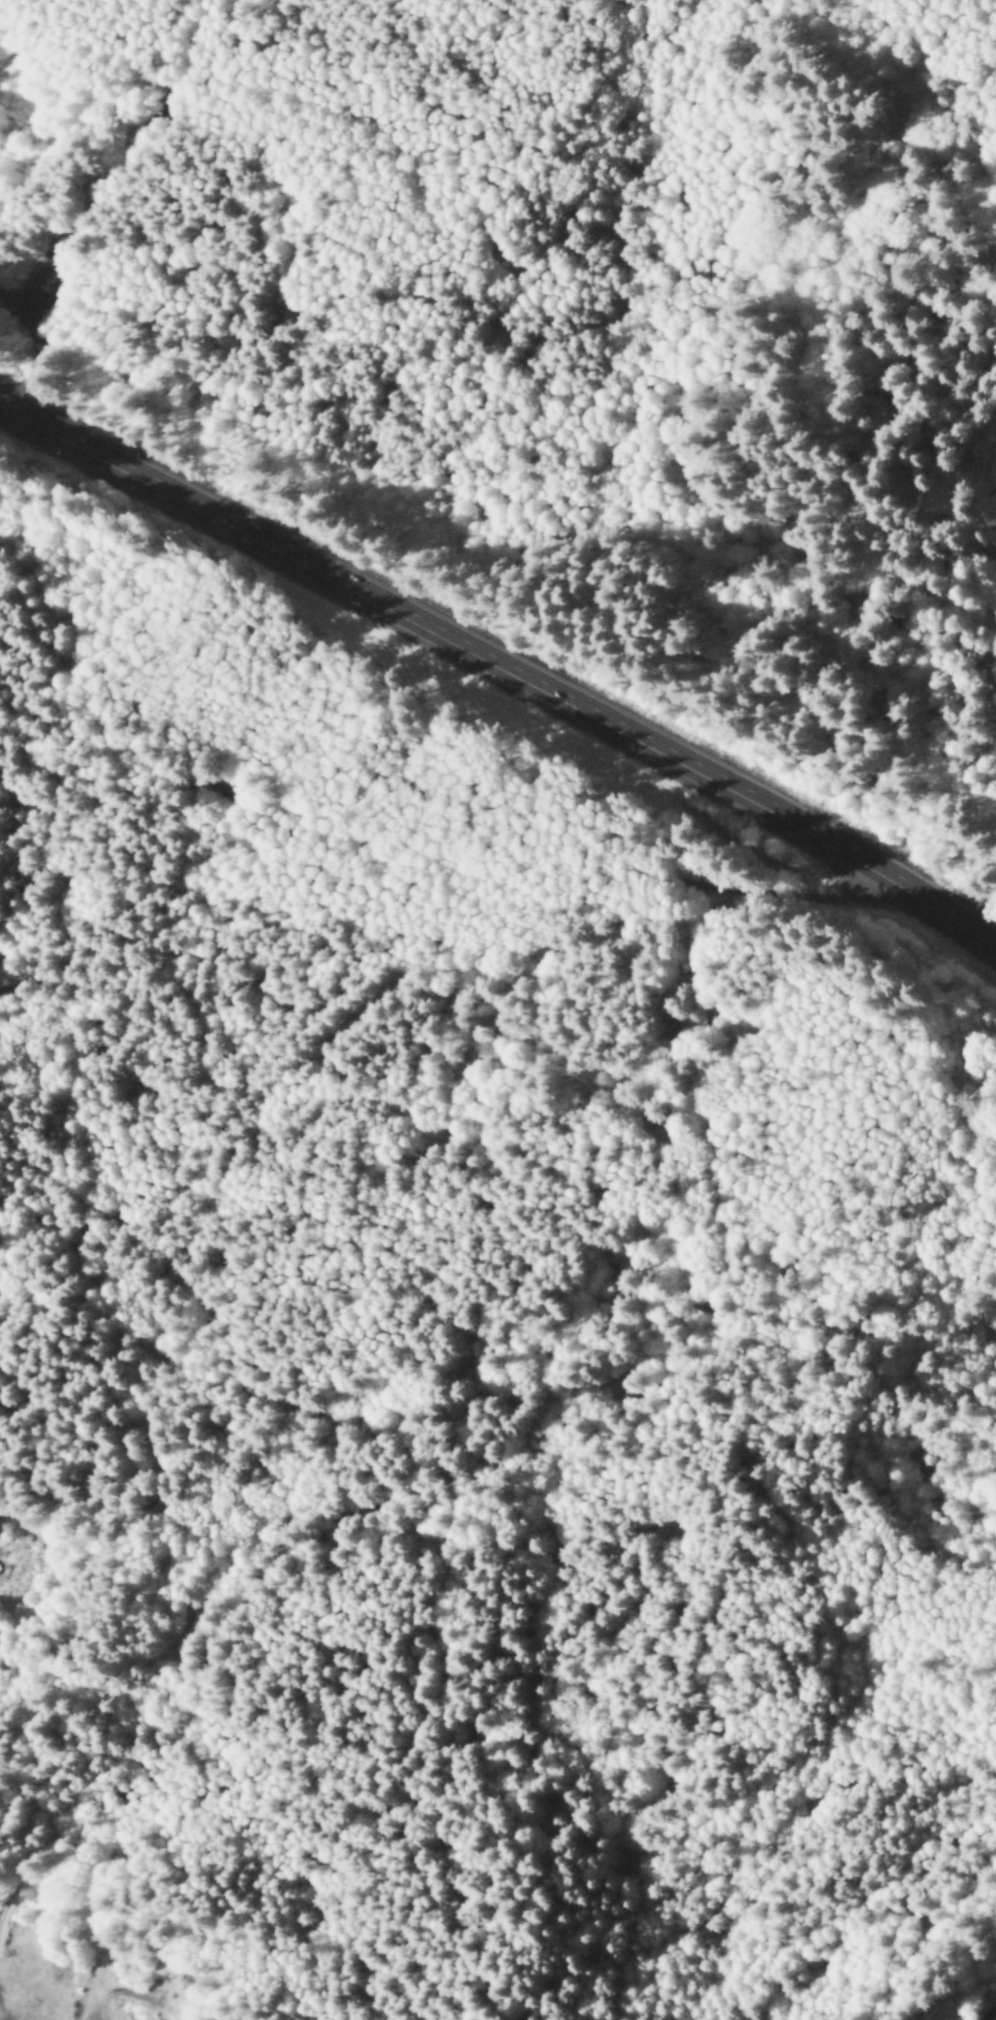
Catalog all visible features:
road: (501, 667)
road: (576, 1391)
power substation: (992, 2016)

